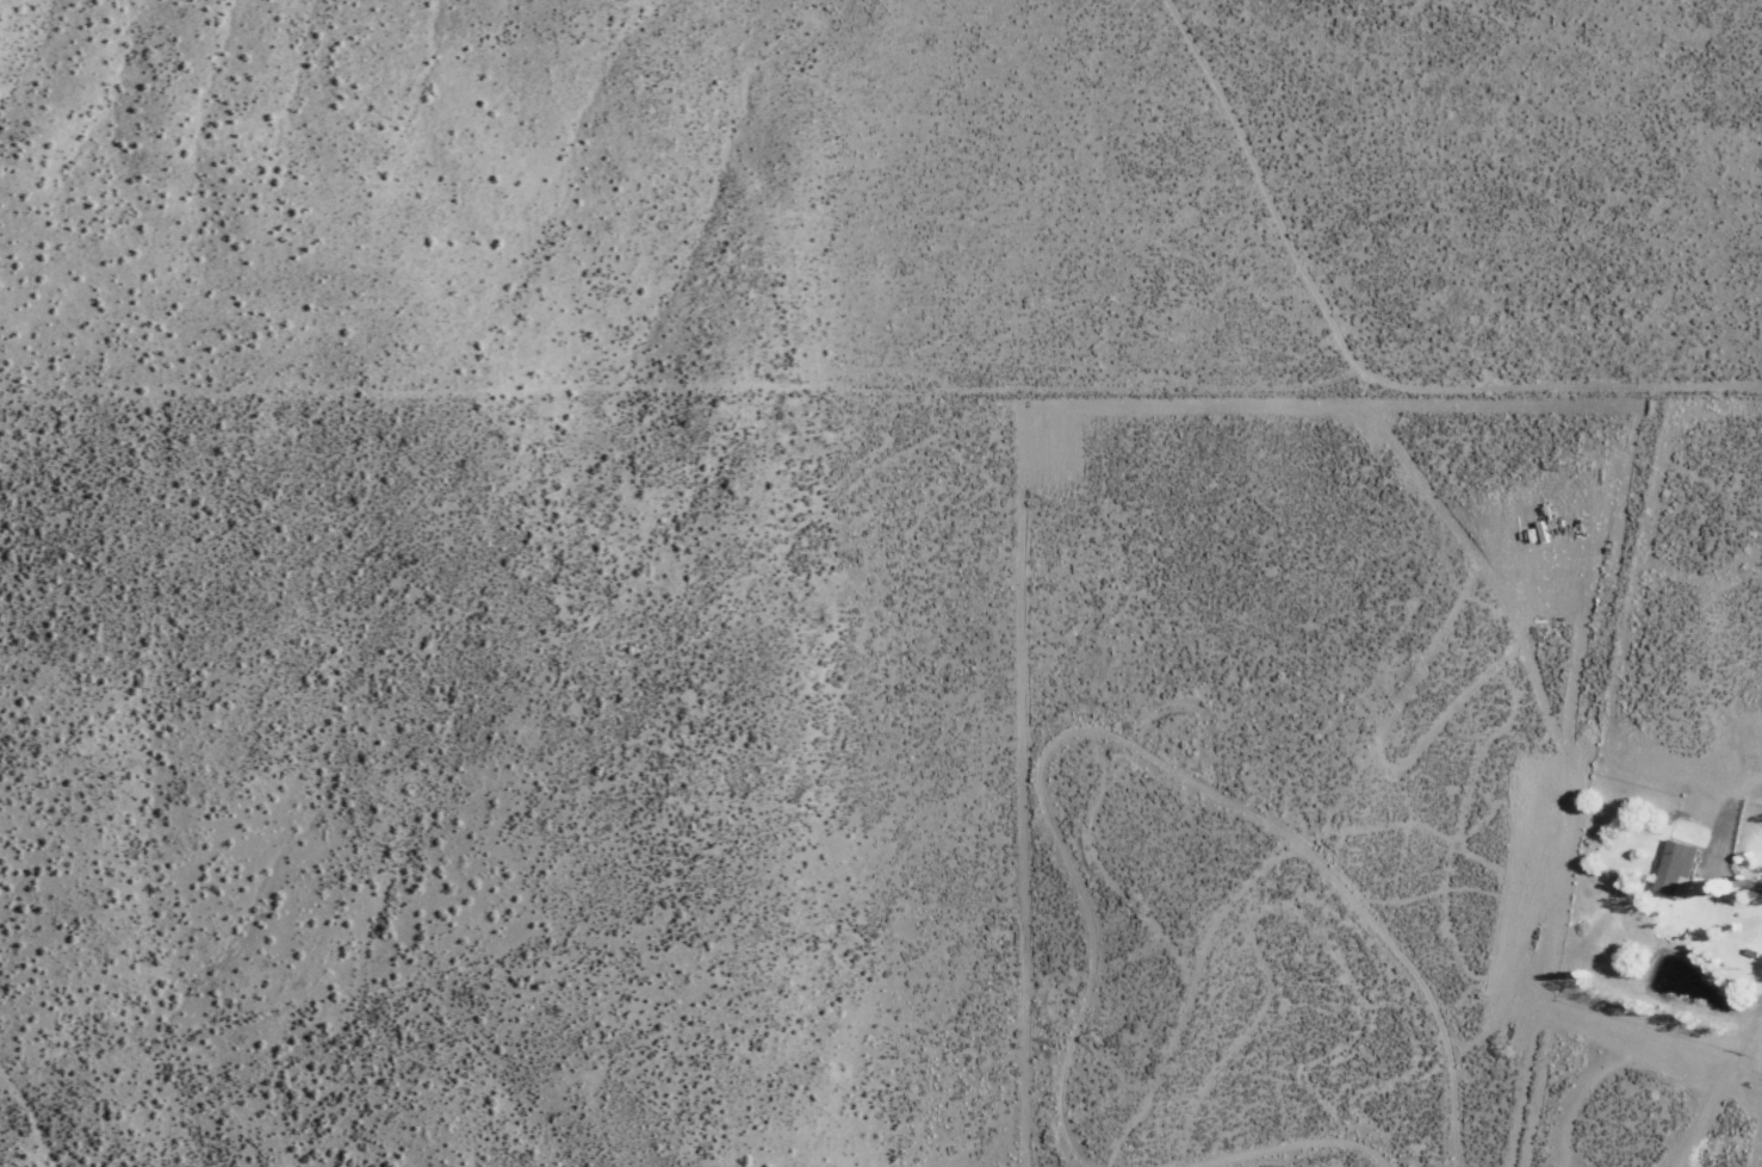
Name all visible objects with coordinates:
road: (1741, 902)

